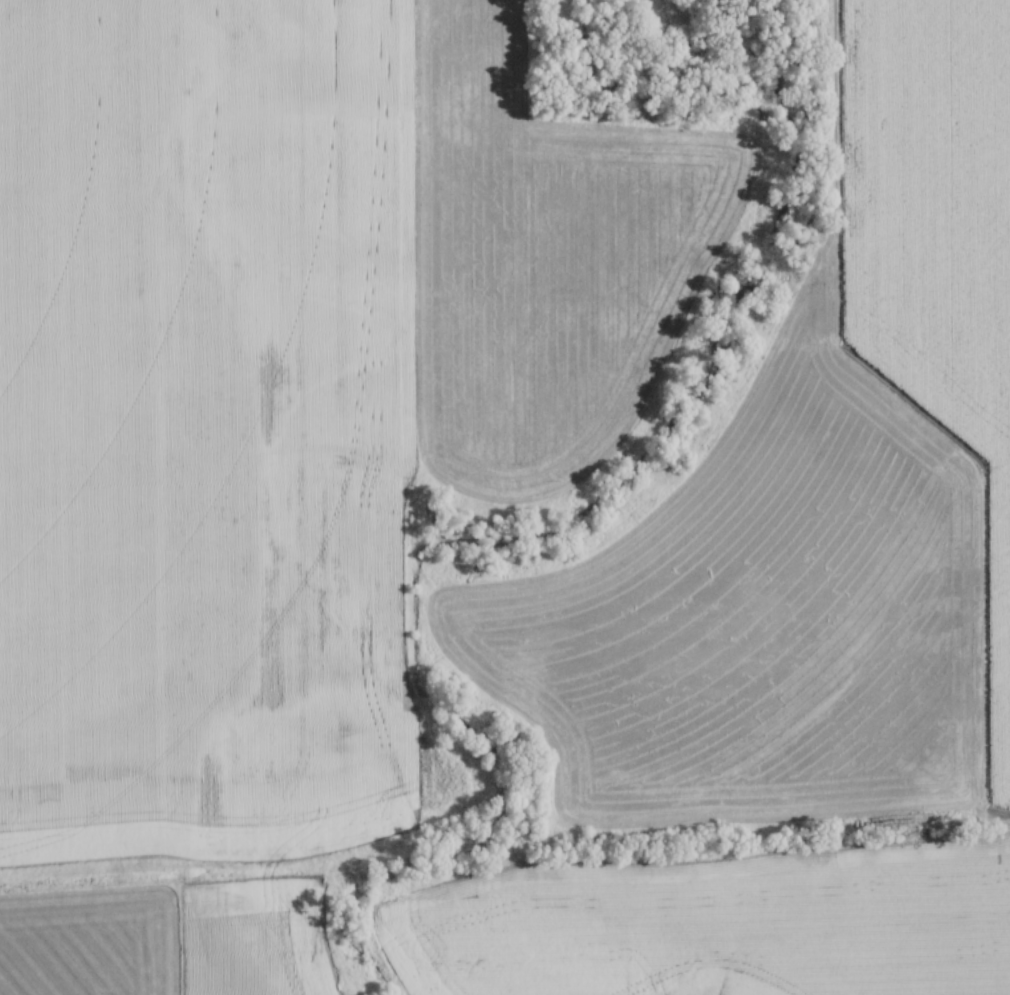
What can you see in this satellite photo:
crop: (283, 381)
crop: (815, 508)
crop: (714, 922)
crop: (160, 939)

